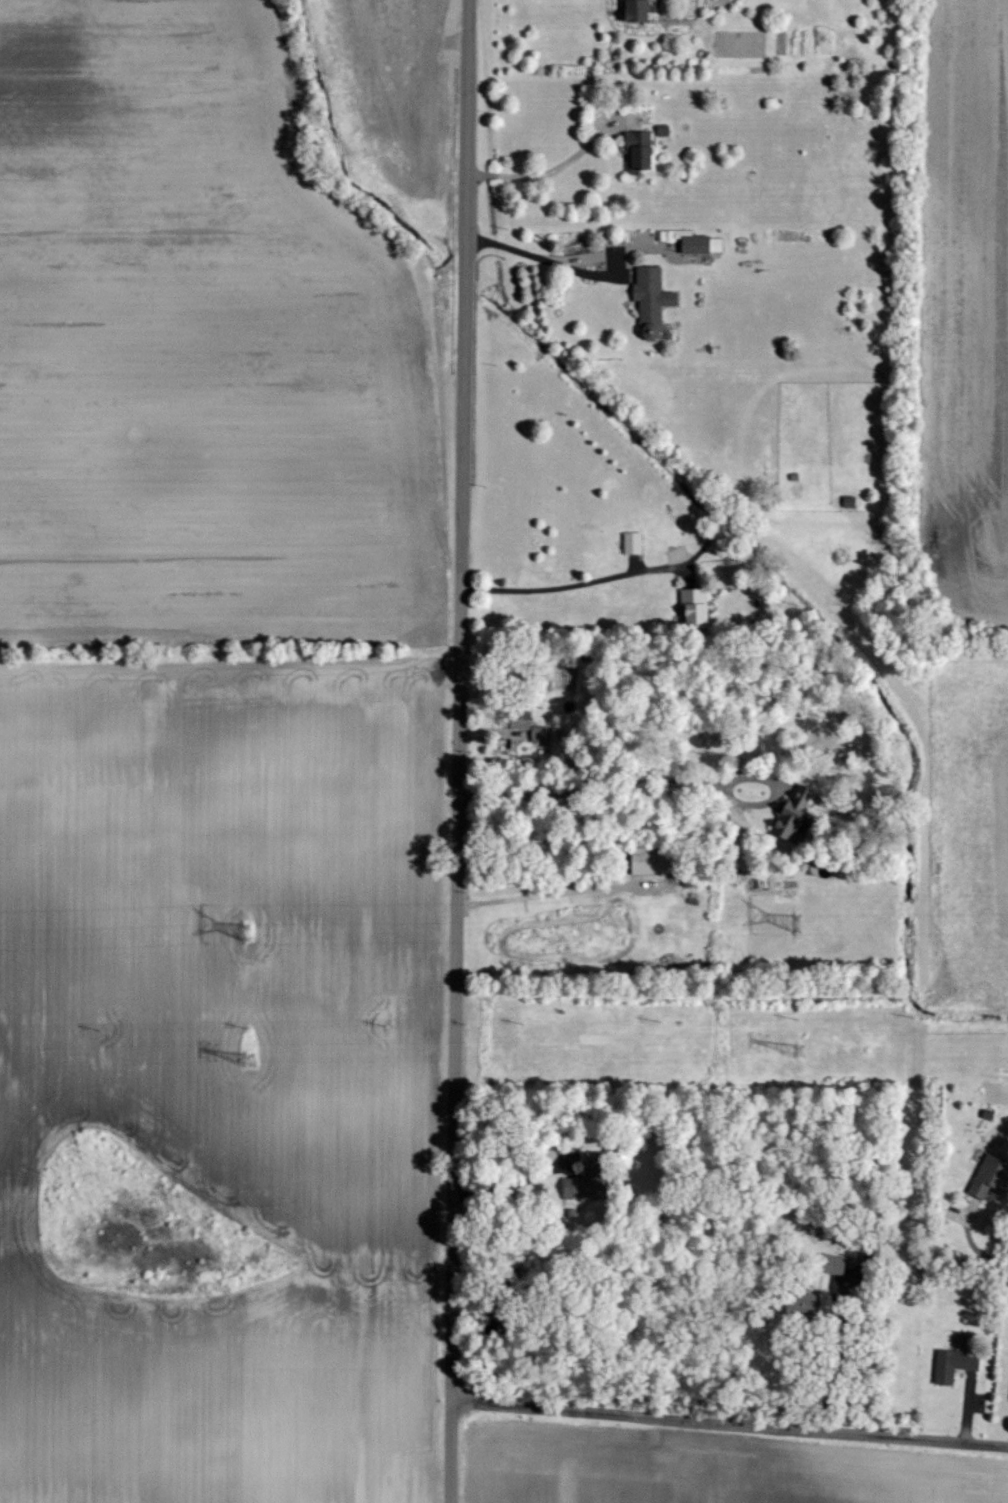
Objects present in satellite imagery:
building: (629, 9)
building: (646, 156)
road: (544, 170)
building: (696, 243)
road: (543, 255)
building: (646, 293)
building: (629, 541)
road: (569, 584)
building: (689, 606)
building: (515, 717)
building: (535, 732)
road: (458, 751)
road: (648, 777)
building: (785, 814)
road: (557, 891)
power tower: (796, 926)
power tower: (244, 933)
power tower: (797, 1052)
power tower: (250, 1059)
building: (981, 1176)
road: (516, 1185)
building: (570, 1187)
road: (971, 1243)
building: (827, 1263)
building: (797, 1303)
road: (834, 1362)
building: (949, 1364)
road: (729, 1426)

